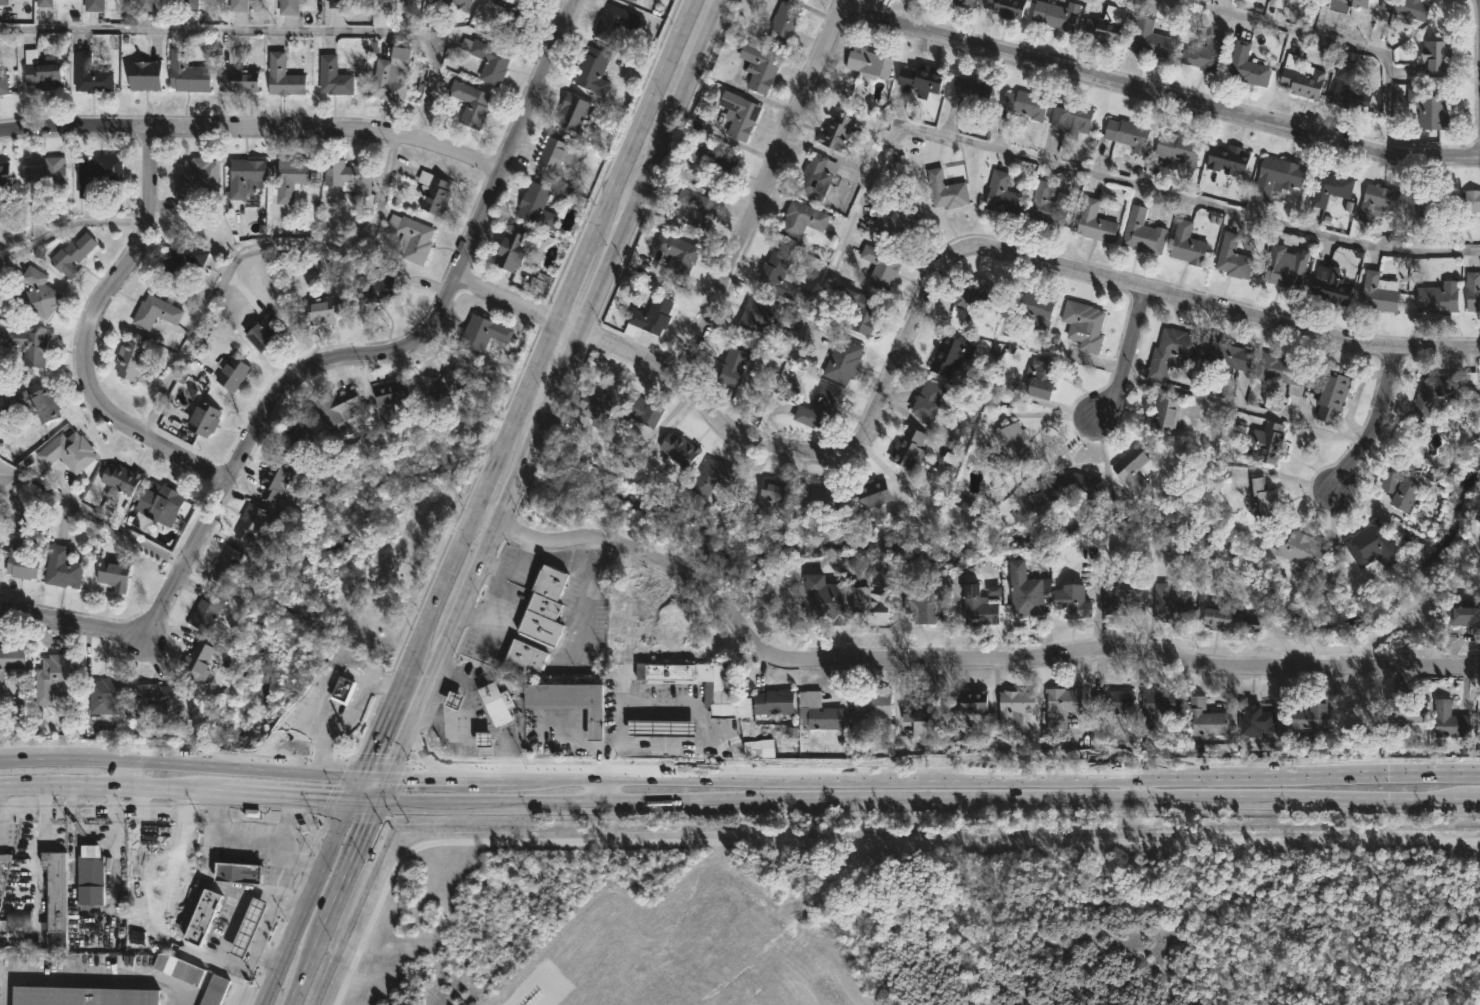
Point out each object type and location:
building: (397, 0)
building: (631, 0)
building: (3, 1)
building: (43, 2)
building: (385, 2)
building: (966, 2)
building: (1277, 2)
building: (188, 3)
building: (336, 3)
building: (145, 4)
building: (1344, 4)
building: (93, 5)
building: (238, 5)
road: (1478, 5)
building: (289, 6)
building: (463, 6)
building: (1006, 7)
building: (1409, 8)
building: (516, 12)
building: (1056, 13)
building: (614, 21)
building: (781, 23)
road: (268, 30)
building: (1103, 31)
building: (1150, 38)
road: (1335, 38)
building: (1206, 55)
building: (1438, 57)
building: (489, 58)
building: (870, 62)
building: (1248, 64)
building: (760, 66)
building: (42, 69)
building: (593, 70)
building: (187, 72)
building: (90, 74)
building: (145, 74)
building: (283, 76)
building: (333, 76)
building: (922, 77)
building: (239, 80)
building: (388, 80)
building: (1303, 81)
building: (3, 82)
building: (972, 88)
building: (1350, 90)
road: (1158, 92)
building: (471, 103)
building: (1026, 103)
building: (1430, 106)
building: (572, 110)
building: (739, 114)
building: (1071, 116)
road: (254, 124)
building: (837, 131)
building: (1129, 132)
building: (1180, 149)
building: (552, 152)
building: (719, 153)
road: (1016, 153)
building: (1233, 160)
building: (96, 172)
building: (244, 175)
building: (347, 175)
building: (817, 176)
building: (1277, 176)
building: (45, 178)
building: (291, 178)
building: (196, 179)
building: (5, 183)
building: (1331, 187)
road: (764, 188)
building: (946, 189)
building: (433, 192)
building: (1003, 193)
building: (1427, 197)
building: (1378, 200)
building: (1473, 200)
building: (1049, 204)
building: (537, 205)
building: (700, 206)
building: (802, 219)
building: (1096, 221)
building: (899, 223)
road: (68, 227)
building: (1143, 231)
building: (412, 237)
building: (1188, 243)
road: (252, 248)
building: (511, 249)
building: (71, 253)
building: (677, 253)
building: (182, 254)
building: (1234, 256)
building: (881, 265)
building: (1282, 268)
building: (778, 275)
building: (539, 282)
building: (1330, 285)
building: (377, 288)
building: (1473, 290)
building: (36, 292)
building: (1380, 293)
building: (975, 296)
building: (1439, 298)
building: (1032, 305)
road: (921, 308)
building: (323, 309)
building: (863, 311)
building: (154, 312)
building: (759, 315)
building: (650, 316)
building: (1084, 324)
building: (261, 331)
road: (89, 332)
building: (482, 333)
road: (411, 342)
building: (29, 345)
building: (1173, 351)
building: (948, 354)
road: (1130, 356)
building: (842, 358)
building: (1227, 358)
building: (129, 359)
building: (734, 365)
building: (1281, 370)
building: (232, 373)
building: (1041, 377)
road: (528, 383)
building: (1439, 389)
building: (451, 393)
building: (1333, 395)
building: (391, 398)
road: (551, 398)
building: (929, 398)
building: (37, 402)
building: (597, 404)
building: (821, 408)
building: (336, 409)
building: (645, 409)
building: (1164, 414)
building: (202, 417)
road: (1374, 418)
building: (298, 437)
building: (1269, 441)
building: (1014, 446)
building: (909, 447)
building: (680, 449)
building: (67, 451)
building: (1133, 470)
building: (713, 476)
building: (274, 478)
building: (116, 481)
building: (1070, 486)
building: (1401, 490)
building: (874, 492)
building: (771, 495)
building: (963, 501)
building: (1266, 501)
building: (820, 502)
building: (161, 503)
building: (960, 514)
road: (92, 516)
building: (248, 521)
building: (1373, 545)
building: (1307, 554)
building: (20, 556)
road: (522, 558)
building: (61, 568)
building: (227, 568)
building: (113, 574)
building: (1024, 590)
road: (496, 599)
road: (583, 599)
building: (825, 599)
building: (1124, 599)
building: (1072, 601)
building: (868, 602)
building: (1172, 605)
building: (978, 606)
building: (543, 607)
building: (206, 609)
building: (921, 609)
building: (1466, 614)
building: (1232, 621)
road: (87, 623)
road: (954, 657)
building: (11, 659)
road: (334, 659)
building: (521, 659)
building: (199, 660)
building: (53, 677)
building: (341, 689)
building: (107, 694)
building: (716, 694)
building: (152, 697)
building: (454, 700)
building: (970, 700)
building: (1113, 700)
building: (568, 701)
building: (774, 701)
building: (496, 703)
building: (1015, 703)
road: (656, 704)
building: (1061, 704)
building: (870, 705)
road: (470, 706)
building: (1158, 706)
building: (1407, 708)
building: (818, 709)
building: (921, 709)
road: (444, 715)
building: (1310, 715)
building: (1207, 717)
road: (347, 718)
building: (1451, 718)
building: (1257, 719)
building: (661, 726)
gas station: (661, 726)
building: (484, 739)
road: (278, 741)
road: (578, 741)
road: (322, 742)
road: (500, 748)
road: (603, 750)
road: (659, 750)
road: (420, 751)
road: (183, 756)
road: (126, 768)
traffic signals: (367, 769)
road: (379, 770)
road: (1434, 771)
traffic signals: (391, 772)
road: (450, 772)
road: (949, 773)
road: (110, 781)
road: (361, 782)
road: (606, 785)
road: (1139, 786)
road: (253, 787)
road: (320, 793)
traffic signals: (355, 796)
traffic signals: (380, 798)
road: (871, 798)
road: (1434, 798)
road: (225, 839)
road: (285, 845)
road: (304, 863)
road: (354, 864)
building: (89, 866)
building: (3, 867)
building: (238, 870)
road: (314, 890)
building: (54, 897)
road: (290, 903)
building: (203, 917)
airport: (918, 917)
building: (17, 920)
building: (249, 927)
road: (232, 929)
road: (262, 937)
building: (179, 968)
road: (312, 968)
road: (89, 978)
building: (212, 990)
building: (81, 995)
road: (268, 995)

